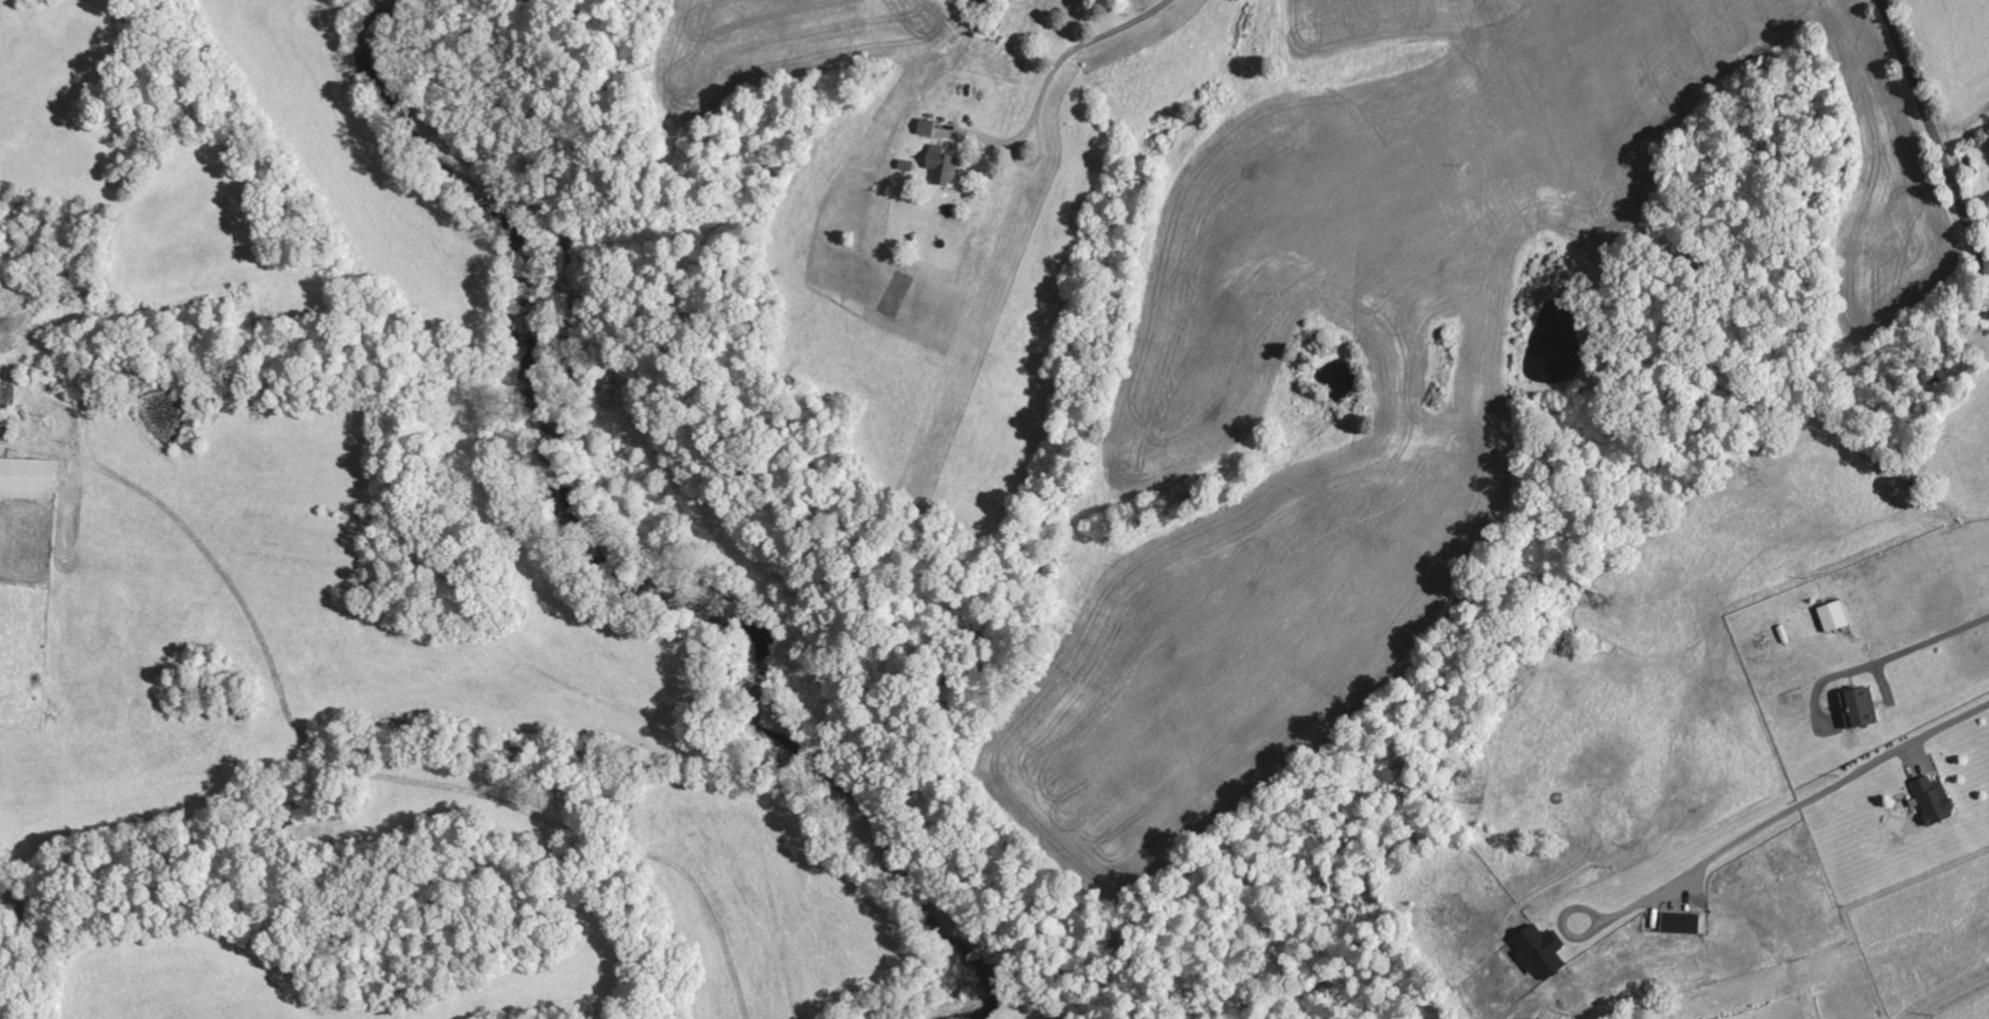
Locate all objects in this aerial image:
road: (1075, 68)
building: (927, 129)
road: (1935, 135)
building: (943, 168)
building: (28, 480)
building: (1836, 617)
building: (1936, 801)
building: (1683, 924)
building: (1542, 954)

